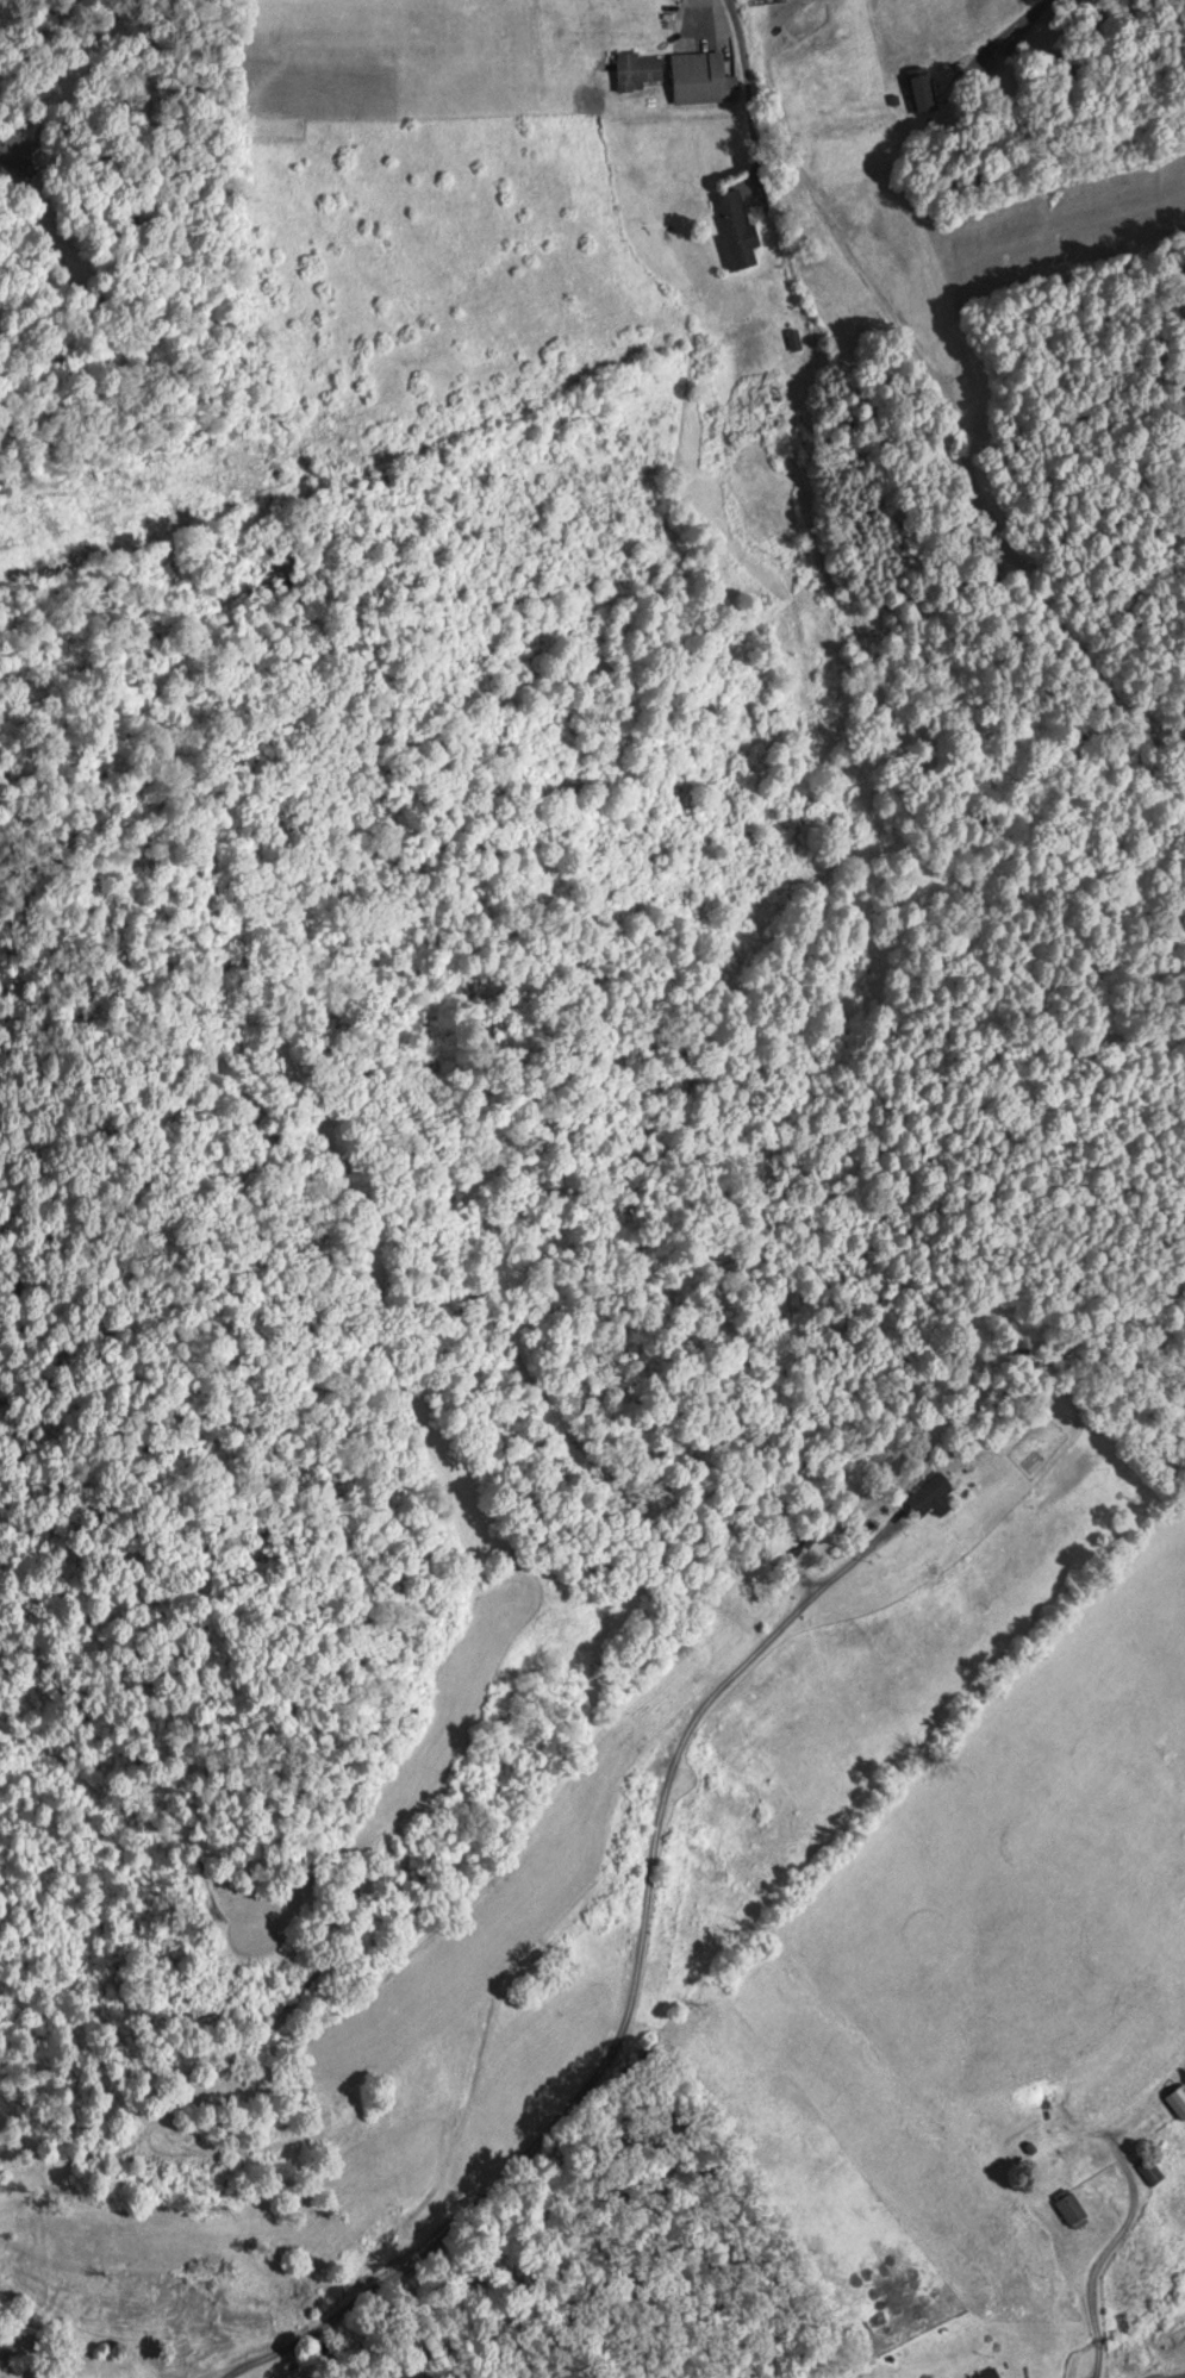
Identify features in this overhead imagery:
building: (635, 70)
building: (699, 79)
building: (734, 227)
building: (931, 1497)
building: (1178, 2099)
building: (1071, 2209)
building: (988, 2374)

